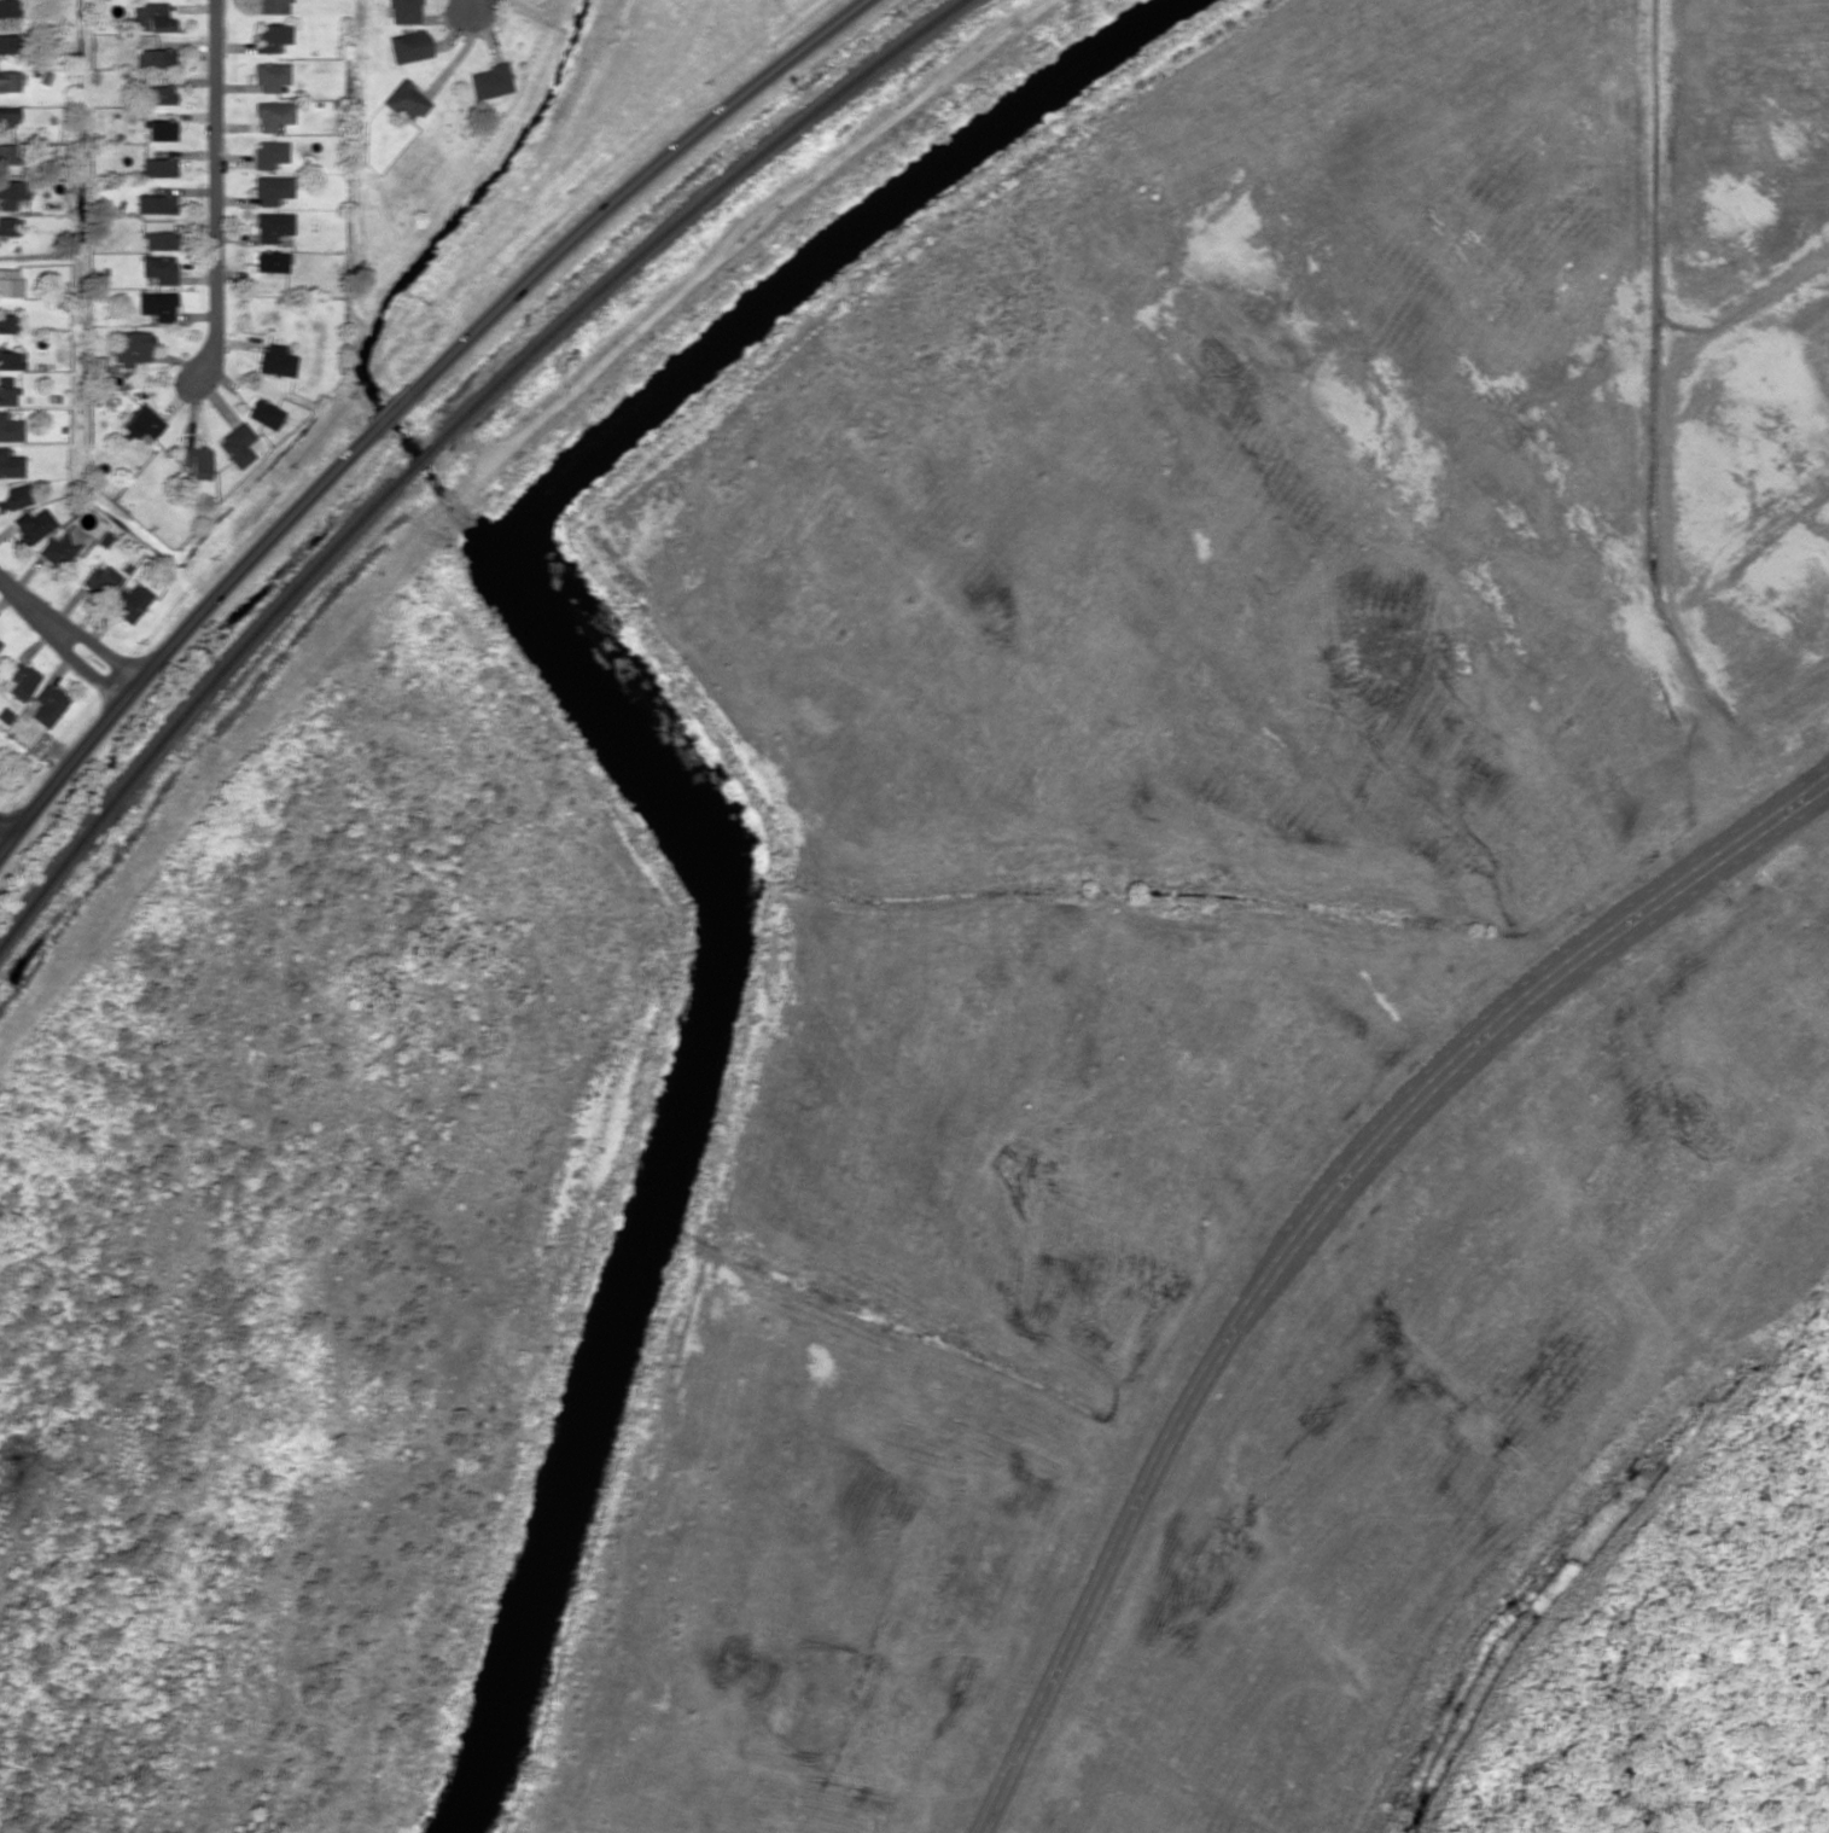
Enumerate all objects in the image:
road: (472, 2)
building: (272, 6)
building: (10, 7)
building: (403, 11)
building: (152, 16)
building: (272, 36)
building: (7, 42)
building: (407, 45)
building: (156, 57)
building: (270, 75)
building: (10, 80)
building: (489, 80)
building: (161, 94)
building: (404, 100)
building: (273, 114)
building: (8, 116)
building: (161, 129)
building: (269, 152)
building: (8, 153)
building: (158, 167)
building: (272, 188)
building: (12, 192)
road: (219, 193)
building: (156, 203)
railway: (699, 208)
building: (8, 225)
building: (272, 226)
building: (158, 234)
building: (270, 261)
building: (159, 268)
building: (10, 281)
building: (157, 304)
building: (7, 322)
building: (132, 345)
building: (10, 359)
building: (275, 360)
building: (7, 391)
road: (400, 396)
building: (264, 413)
building: (142, 424)
building: (10, 427)
building: (238, 444)
railway: (423, 459)
building: (196, 461)
building: (11, 464)
building: (14, 496)
building: (33, 524)
building: (62, 546)
building: (97, 581)
building: (128, 600)
road: (64, 635)
building: (19, 680)
building: (47, 704)
railway: (188, 708)
river: (659, 758)
road: (1811, 779)
road: (1811, 792)
road: (5, 833)
road: (1289, 1239)

